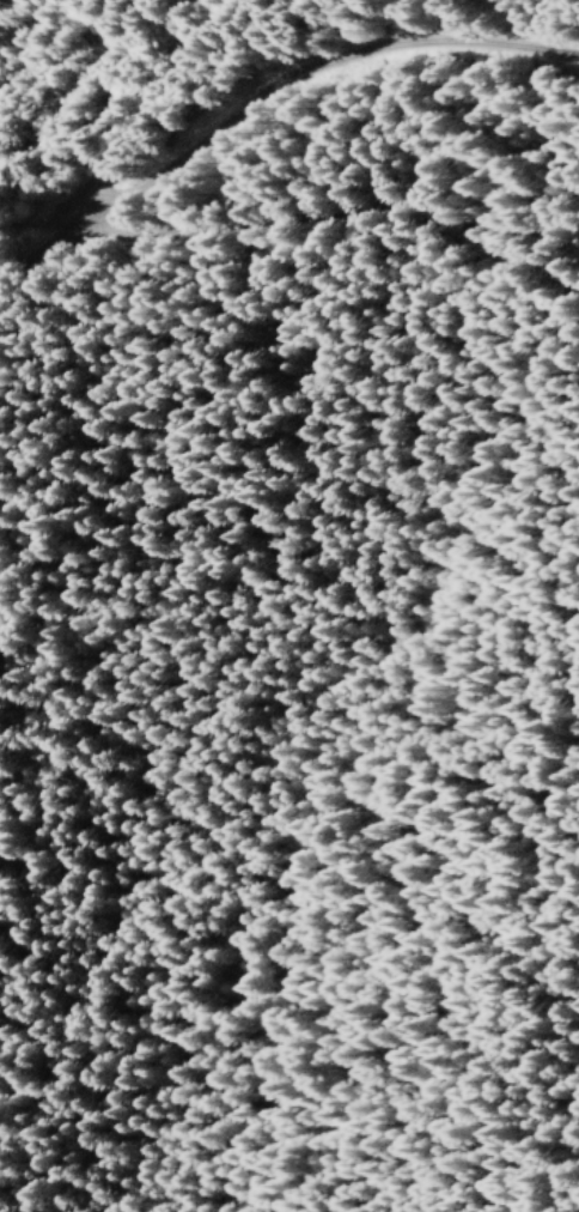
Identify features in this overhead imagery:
road: (318, 69)
road: (136, 119)
road: (351, 214)
road: (45, 238)

